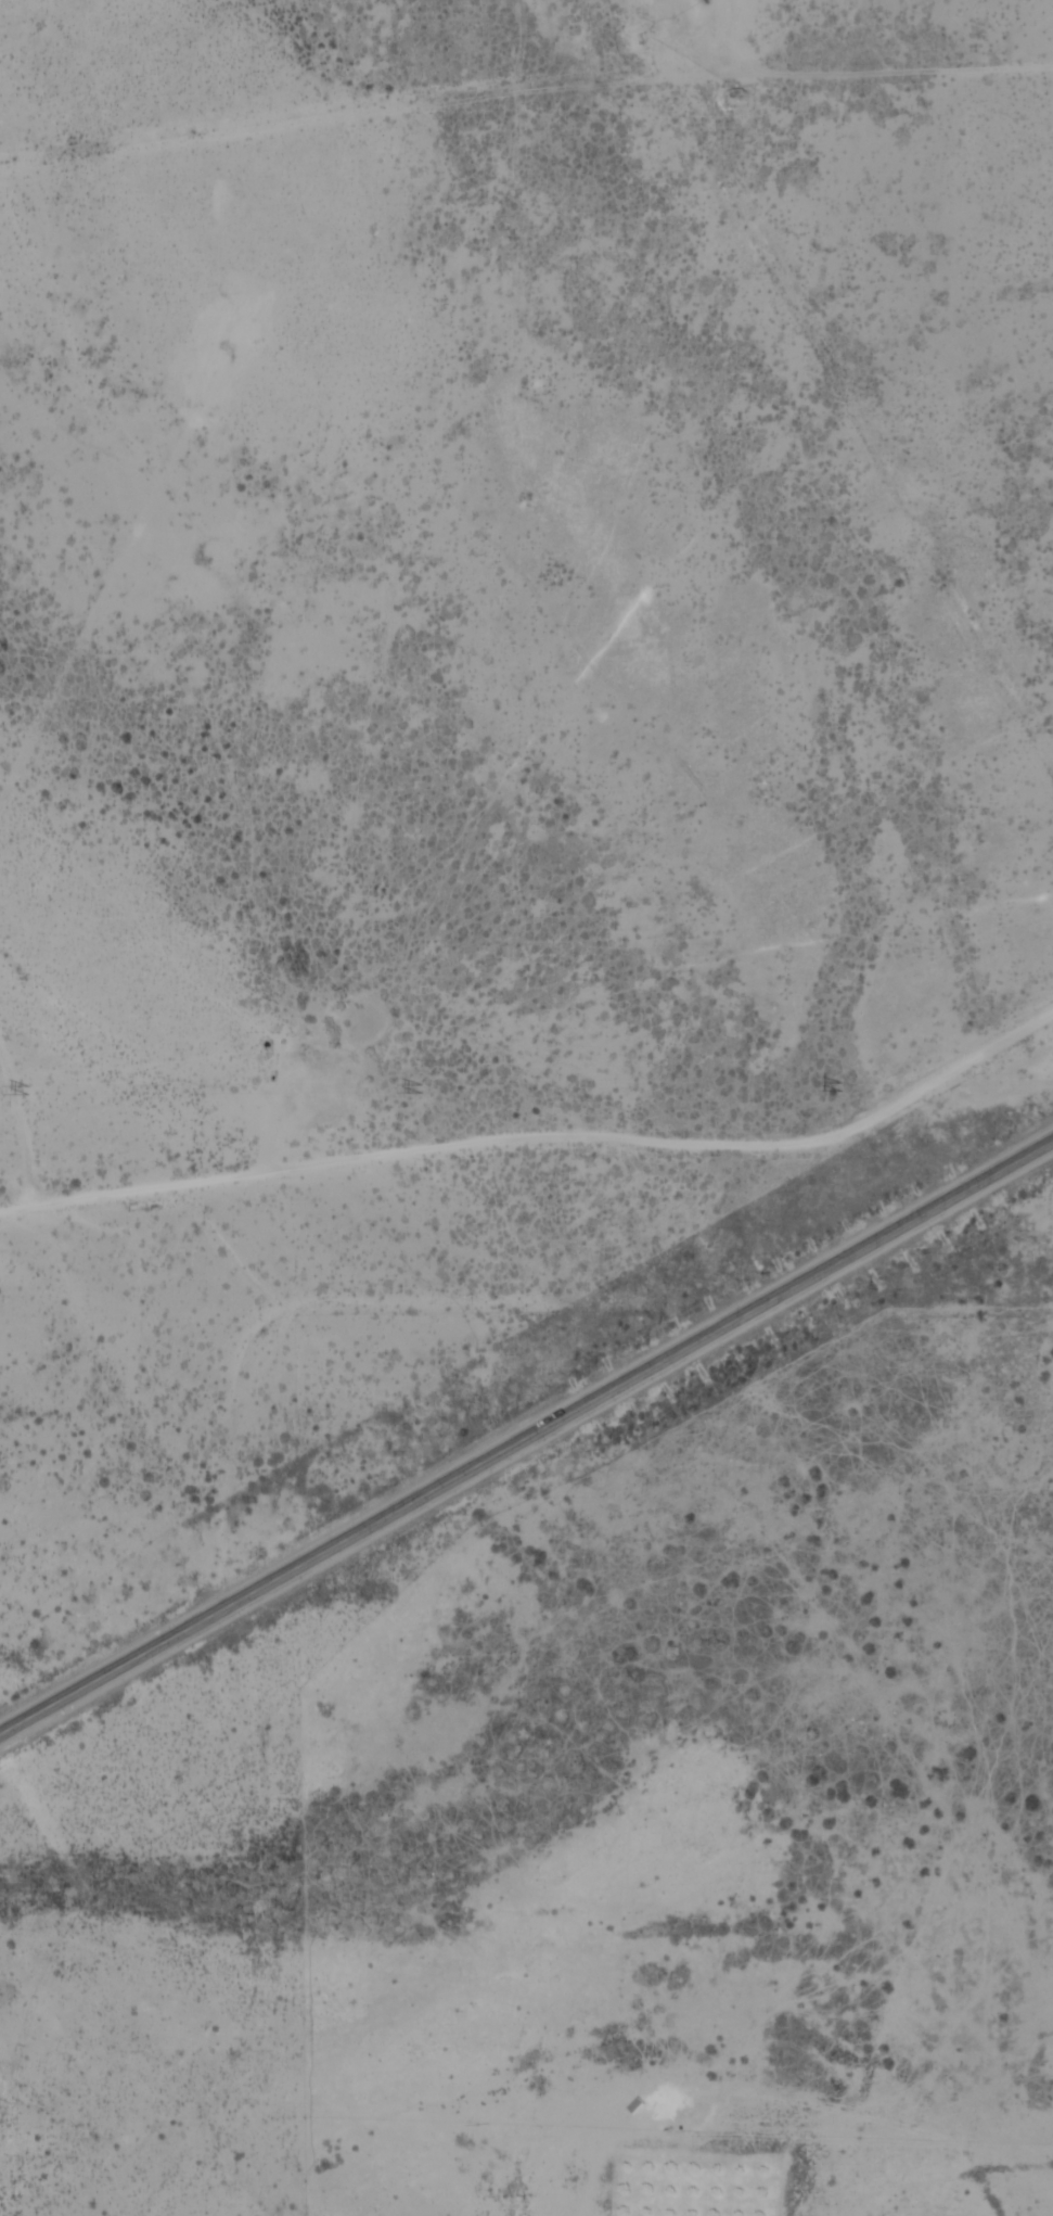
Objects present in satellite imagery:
road: (540, 1132)
road: (526, 1435)

